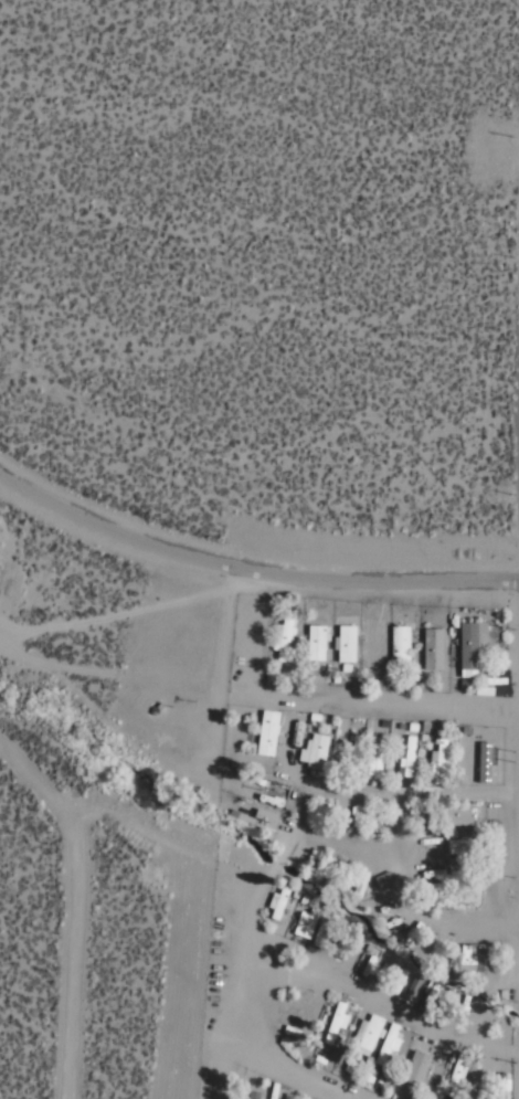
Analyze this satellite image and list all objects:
road: (248, 570)
road: (139, 614)
building: (283, 637)
building: (316, 642)
building: (345, 643)
building: (399, 643)
building: (371, 645)
building: (469, 645)
building: (431, 648)
road: (381, 708)
building: (266, 732)
building: (314, 750)
building: (354, 753)
building: (406, 755)
building: (375, 759)
building: (438, 761)
building: (462, 816)
building: (269, 826)
building: (459, 847)
road: (267, 871)
building: (382, 879)
road: (409, 884)
building: (276, 901)
road: (76, 905)
building: (304, 924)
building: (481, 961)
building: (314, 1004)
road: (389, 1008)
building: (338, 1015)
building: (367, 1034)
building: (388, 1044)
road: (221, 1063)
building: (415, 1067)
road: (300, 1076)

